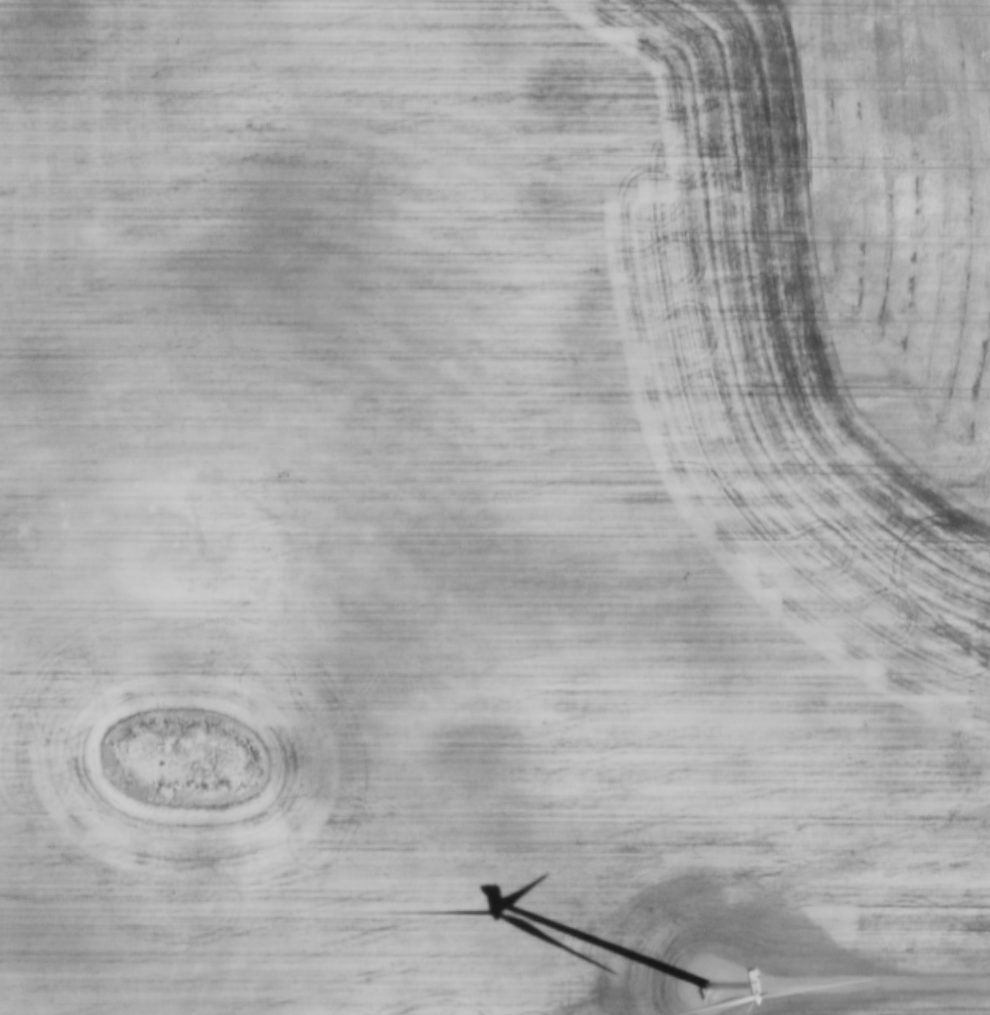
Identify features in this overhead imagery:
wind turbine: (709, 980)

